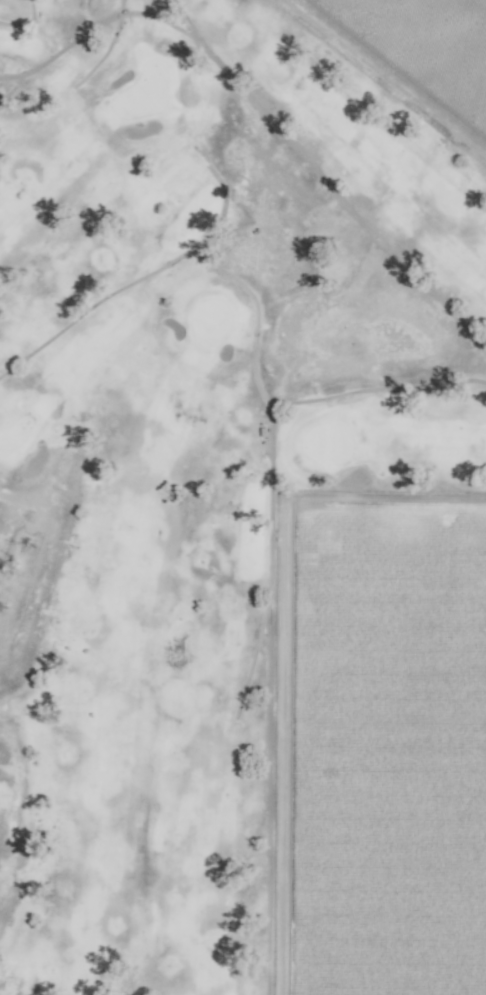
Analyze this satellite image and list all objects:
crop: (413, 52)
park: (209, 476)
crop: (391, 747)

